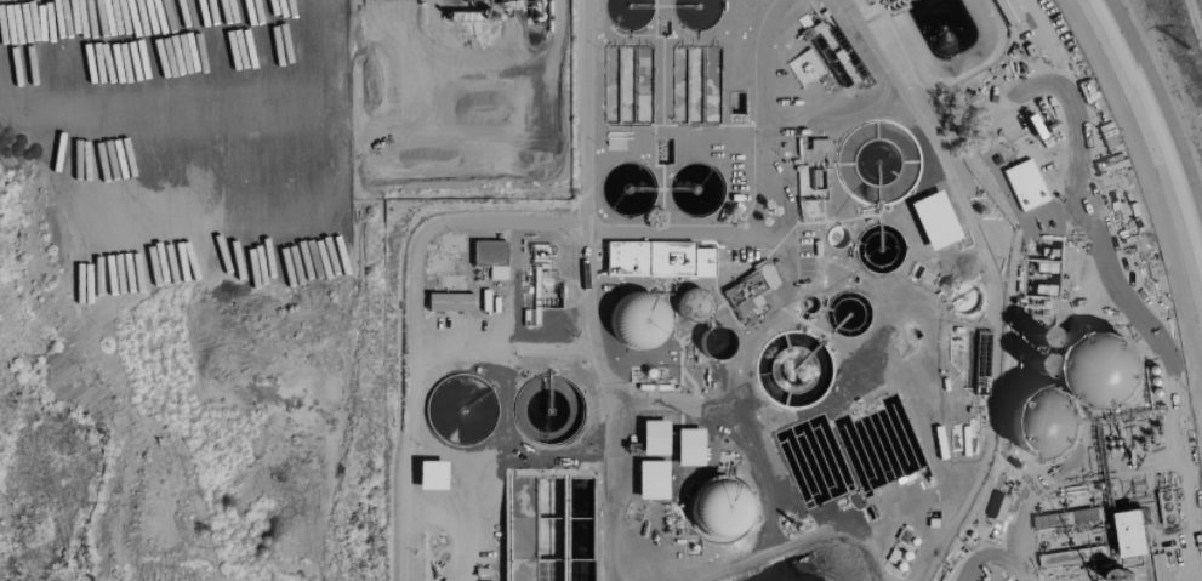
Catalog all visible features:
building: (805, 68)
road: (832, 112)
building: (1024, 138)
road: (763, 194)
building: (807, 210)
road: (1106, 230)
building: (489, 258)
building: (765, 277)
road: (992, 278)
road: (588, 291)
building: (741, 301)
building: (636, 320)
wastewater plant: (791, 321)
building: (653, 438)
building: (688, 448)
building: (651, 480)
road: (1058, 482)
building: (1134, 495)
building: (716, 508)
road: (1194, 524)
building: (1126, 531)

